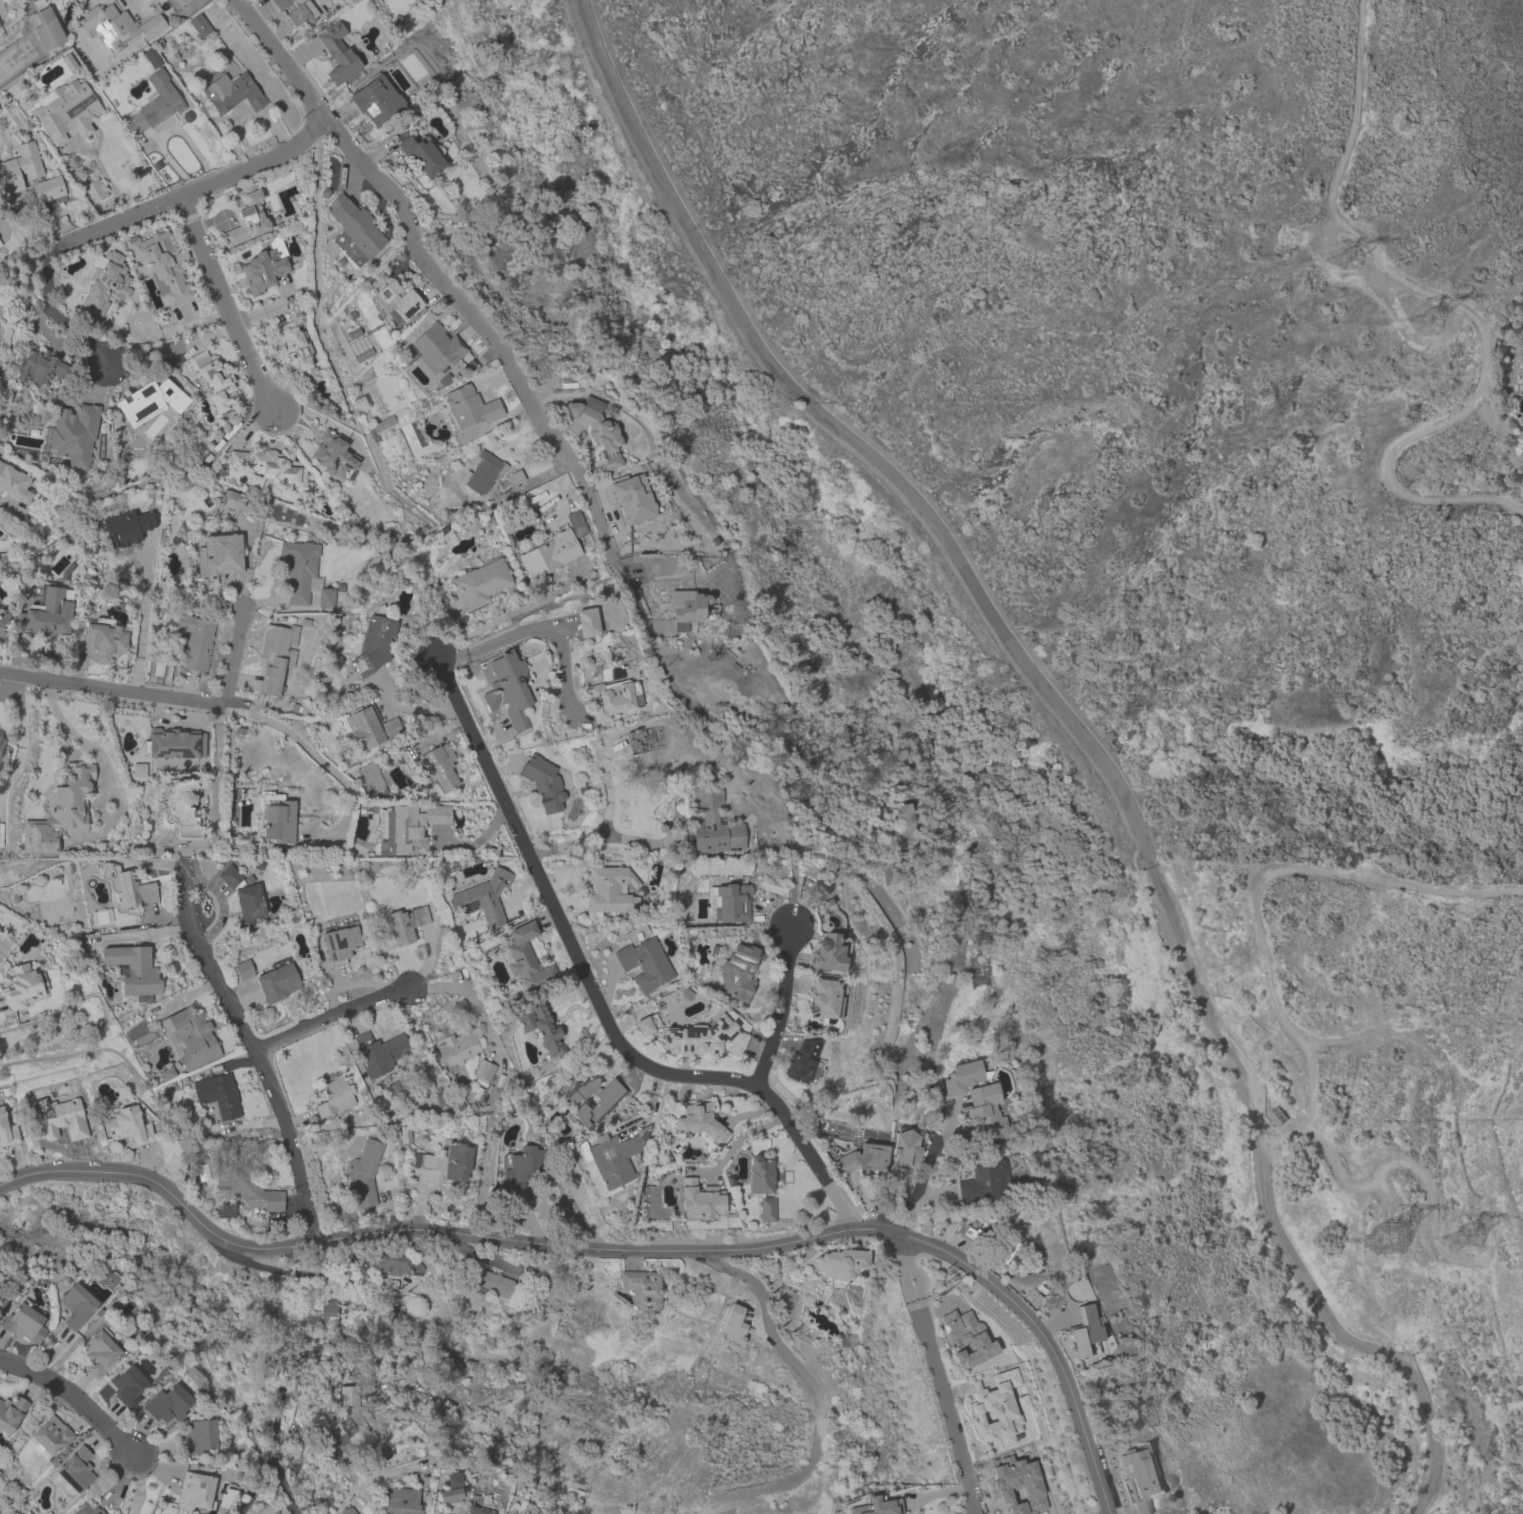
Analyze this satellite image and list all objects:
building: (151, 1)
building: (298, 10)
building: (44, 25)
building: (117, 25)
building: (199, 25)
building: (337, 52)
building: (68, 61)
building: (231, 92)
building: (376, 100)
building: (155, 103)
building: (65, 110)
building: (422, 155)
building: (19, 167)
road: (102, 175)
building: (47, 189)
building: (94, 190)
road: (123, 214)
building: (245, 214)
building: (354, 225)
road: (406, 227)
road: (315, 259)
power tower: (1357, 261)
building: (163, 264)
building: (262, 269)
building: (105, 282)
building: (399, 299)
road: (223, 302)
road: (1454, 309)
power tower: (1438, 318)
building: (435, 347)
building: (293, 349)
building: (39, 366)
building: (213, 379)
building: (149, 401)
building: (466, 407)
building: (382, 423)
road: (233, 427)
building: (597, 430)
building: (73, 434)
building: (333, 454)
building: (273, 467)
building: (483, 472)
road: (542, 475)
building: (13, 483)
building: (632, 498)
building: (126, 527)
building: (549, 553)
building: (218, 555)
building: (298, 569)
building: (480, 582)
building: (684, 608)
building: (48, 611)
park: (1111, 612)
road: (505, 614)
road: (142, 615)
building: (587, 621)
building: (3, 623)
road: (538, 626)
building: (103, 639)
building: (194, 641)
building: (373, 641)
road: (233, 656)
building: (272, 658)
building: (507, 689)
building: (613, 697)
road: (227, 706)
building: (368, 725)
road: (1078, 731)
road: (83, 741)
building: (1, 742)
building: (175, 743)
road: (217, 765)
building: (437, 766)
building: (543, 782)
road: (608, 793)
building: (182, 809)
building: (60, 811)
building: (276, 818)
building: (713, 821)
building: (906, 823)
building: (406, 828)
road: (601, 835)
building: (609, 889)
building: (132, 890)
building: (813, 891)
building: (243, 896)
building: (481, 897)
building: (730, 902)
road: (1253, 906)
building: (405, 924)
building: (0, 932)
road: (161, 933)
road: (6, 941)
building: (339, 944)
building: (827, 953)
building: (525, 956)
building: (642, 958)
building: (133, 968)
building: (243, 969)
building: (737, 971)
building: (277, 982)
building: (21, 985)
road: (467, 992)
road: (188, 994)
road: (593, 994)
building: (821, 997)
road: (782, 1005)
road: (329, 1015)
building: (642, 1026)
building: (541, 1027)
building: (192, 1037)
building: (703, 1038)
building: (457, 1046)
road: (252, 1048)
building: (379, 1051)
building: (803, 1062)
building: (483, 1069)
building: (217, 1094)
building: (333, 1096)
building: (975, 1098)
building: (592, 1099)
road: (650, 1105)
road: (748, 1113)
building: (59, 1118)
building: (1277, 1119)
building: (698, 1121)
building: (128, 1125)
building: (7, 1131)
road: (740, 1135)
building: (864, 1157)
building: (612, 1158)
building: (449, 1161)
building: (523, 1165)
building: (362, 1173)
building: (759, 1174)
building: (984, 1179)
road: (917, 1189)
road: (1433, 1190)
building: (248, 1191)
road: (788, 1197)
building: (699, 1200)
road: (531, 1219)
power tower: (1481, 1230)
power tower: (1398, 1234)
building: (974, 1236)
road: (620, 1249)
building: (838, 1263)
building: (398, 1265)
building: (487, 1281)
building: (640, 1287)
building: (76, 1305)
building: (330, 1312)
building: (24, 1323)
building: (1083, 1330)
road: (369, 1335)
building: (966, 1337)
building: (98, 1352)
road: (936, 1373)
building: (127, 1385)
road: (811, 1385)
road: (74, 1397)
building: (167, 1403)
building: (996, 1408)
building: (10, 1412)
building: (345, 1418)
building: (50, 1435)
building: (198, 1435)
building: (75, 1469)
building: (1140, 1478)
road: (139, 1485)
building: (1018, 1486)
building: (194, 1491)
road: (258, 1495)
building: (400, 1500)
building: (876, 1506)
building: (86, 1509)
building: (479, 1510)

